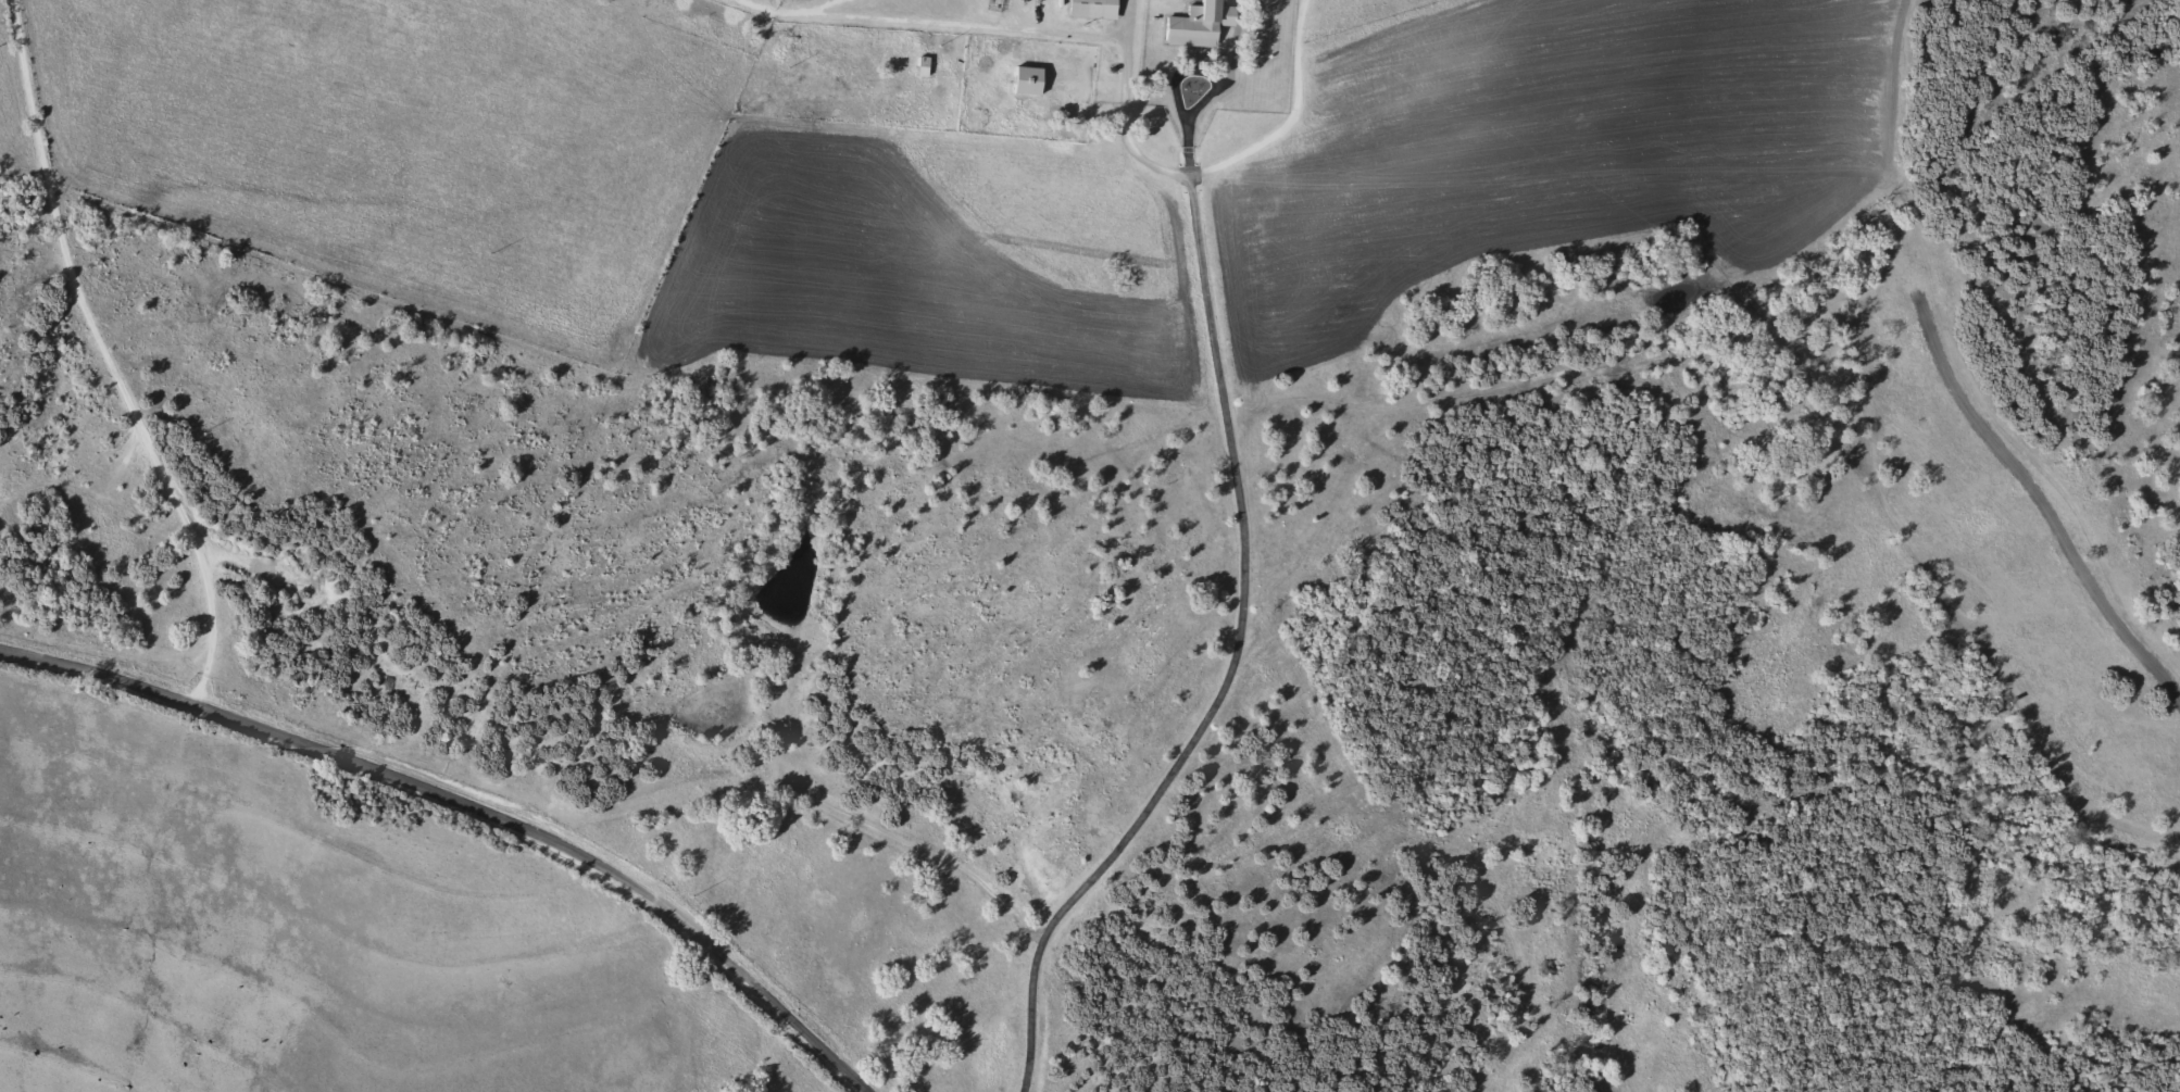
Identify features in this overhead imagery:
building: (1091, 8)
building: (1198, 23)
building: (923, 66)
building: (1027, 78)
road: (1238, 484)
road: (474, 804)

